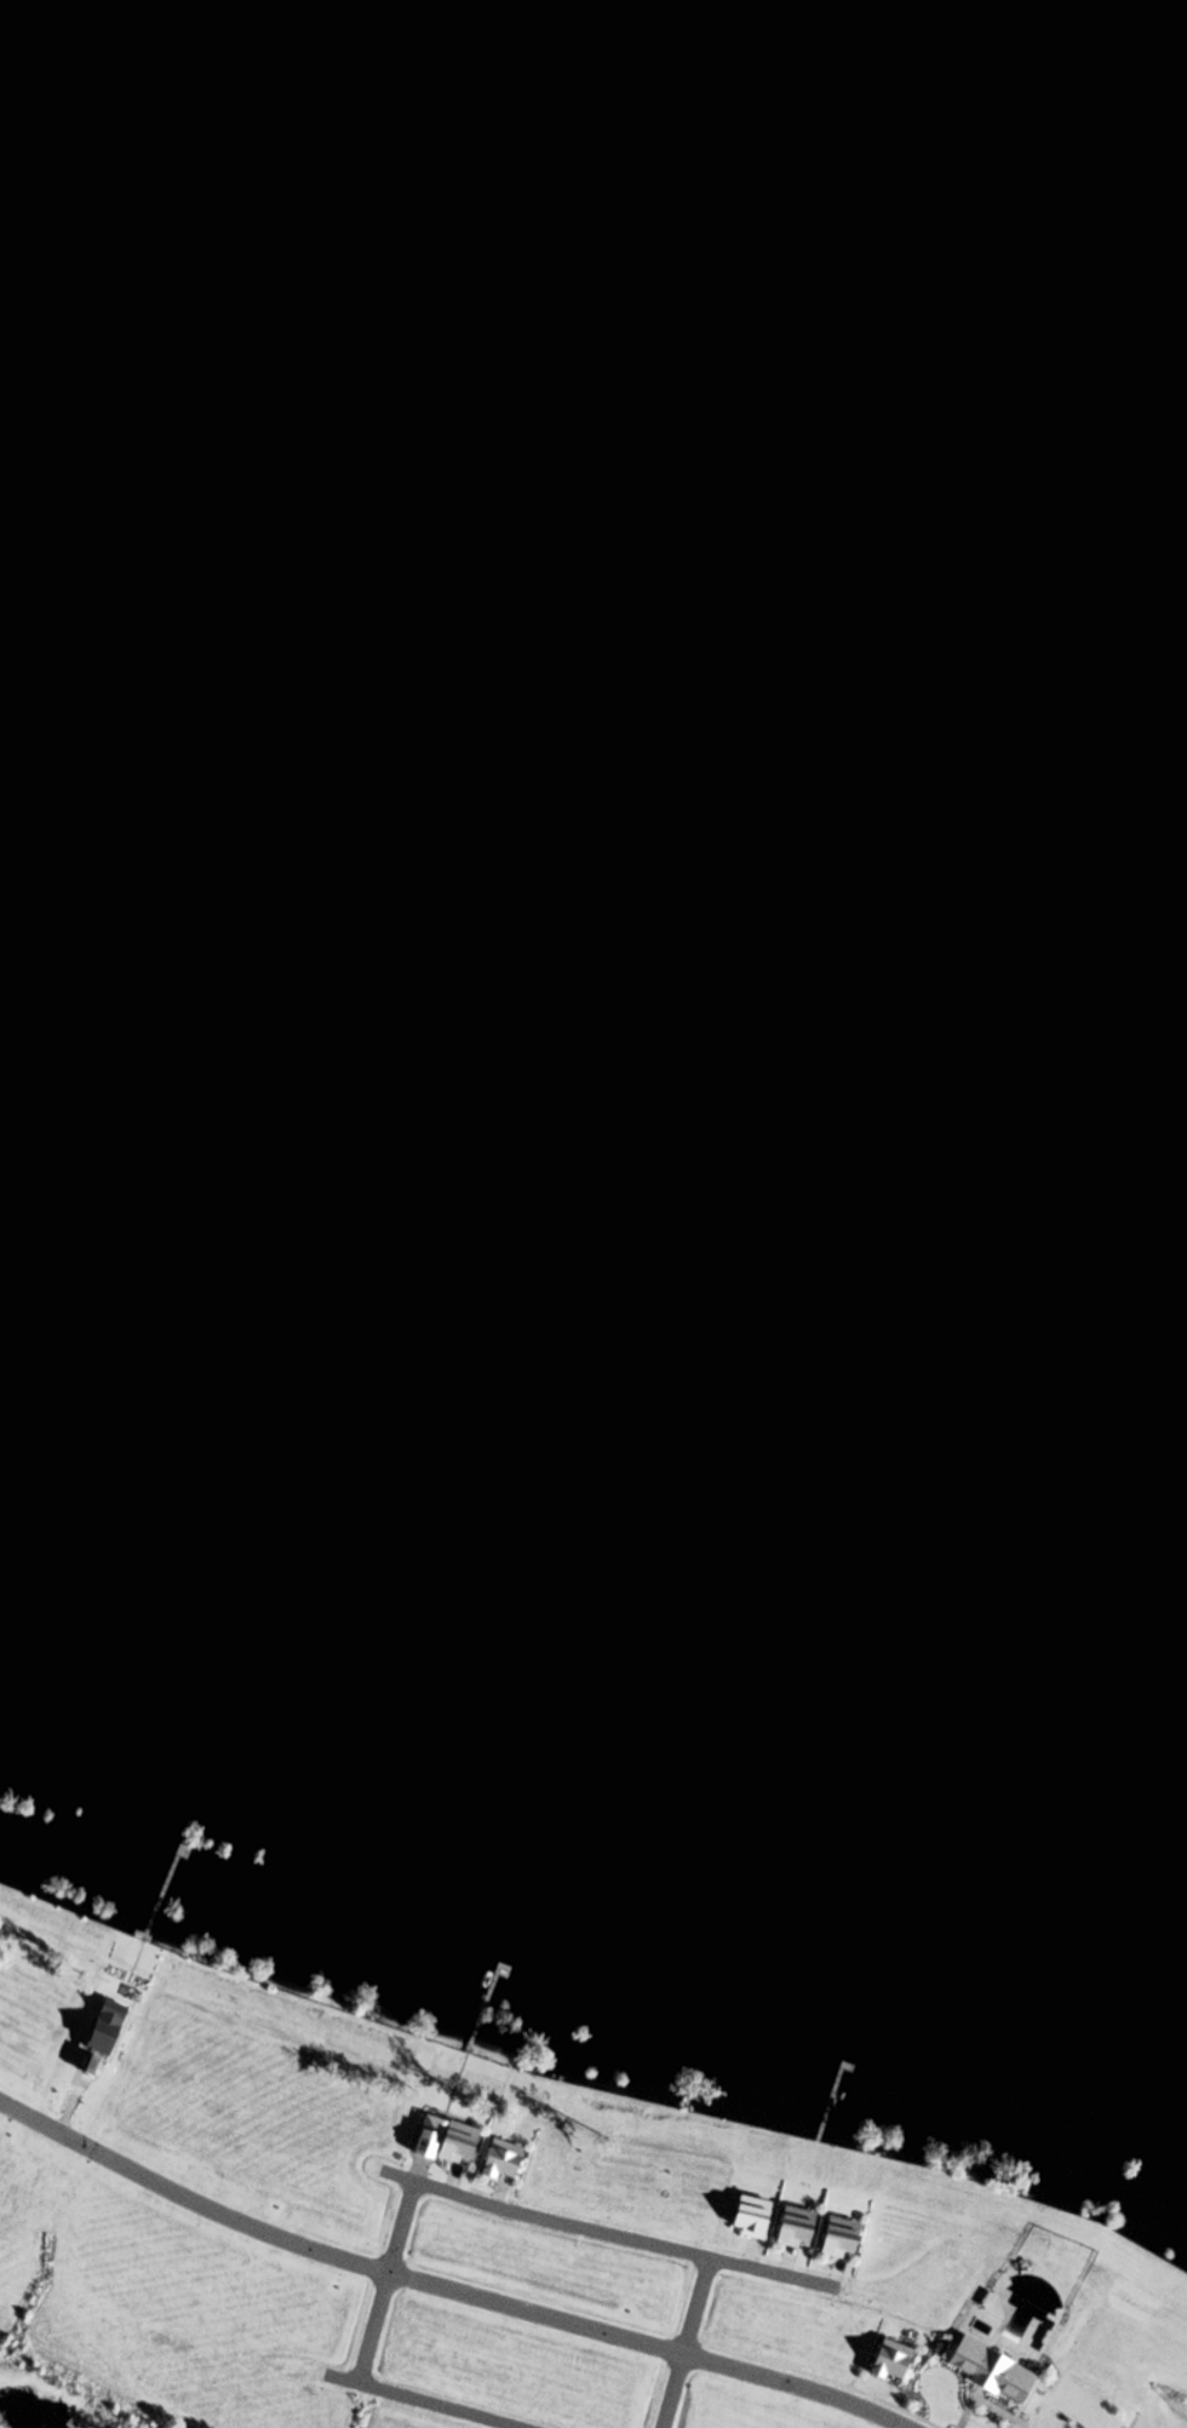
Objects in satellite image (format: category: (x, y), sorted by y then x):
building: (98, 2042)
road: (65, 2107)
building: (441, 2151)
building: (498, 2168)
road: (447, 2186)
road: (495, 2199)
building: (749, 2223)
building: (791, 2234)
road: (597, 2237)
building: (835, 2246)
road: (745, 2260)
road: (781, 2269)
road: (830, 2281)
road: (437, 2290)
road: (682, 2344)
road: (361, 2360)
building: (887, 2367)
building: (985, 2377)
road: (339, 2380)
road: (963, 2413)

